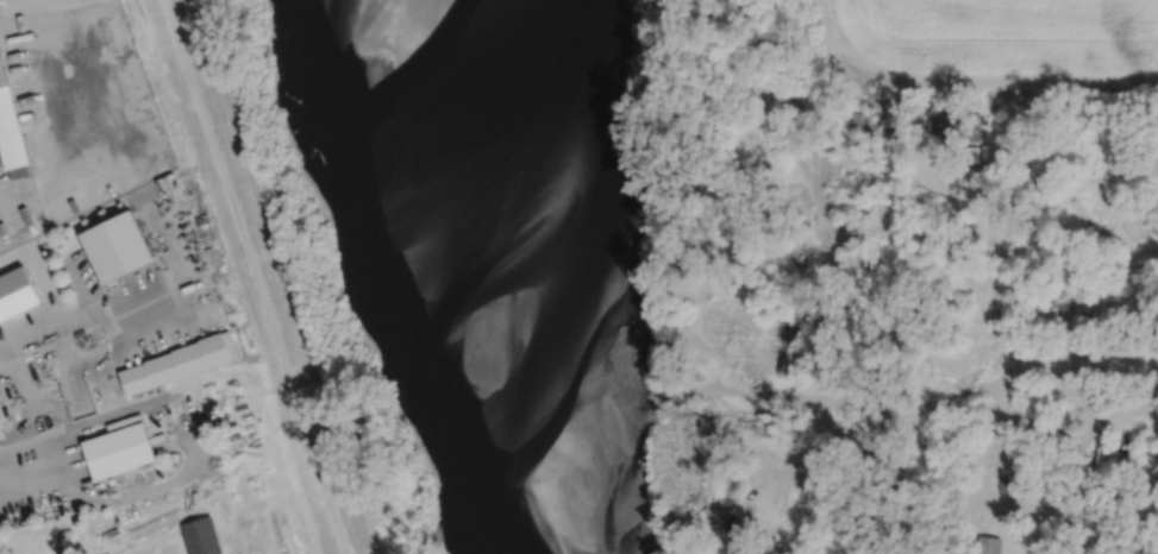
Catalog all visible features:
building: (799, 113)
building: (10, 124)
building: (964, 125)
road: (77, 136)
building: (118, 244)
building: (1133, 264)
building: (865, 266)
building: (726, 269)
road: (990, 273)
river: (503, 276)
road: (133, 316)
building: (760, 351)
building: (181, 360)
road: (1089, 365)
building: (83, 398)
road: (890, 411)
building: (119, 449)
road: (974, 457)
building: (1098, 457)
building: (1143, 460)
road: (125, 496)
road: (1029, 510)
building: (202, 535)
building: (987, 544)

